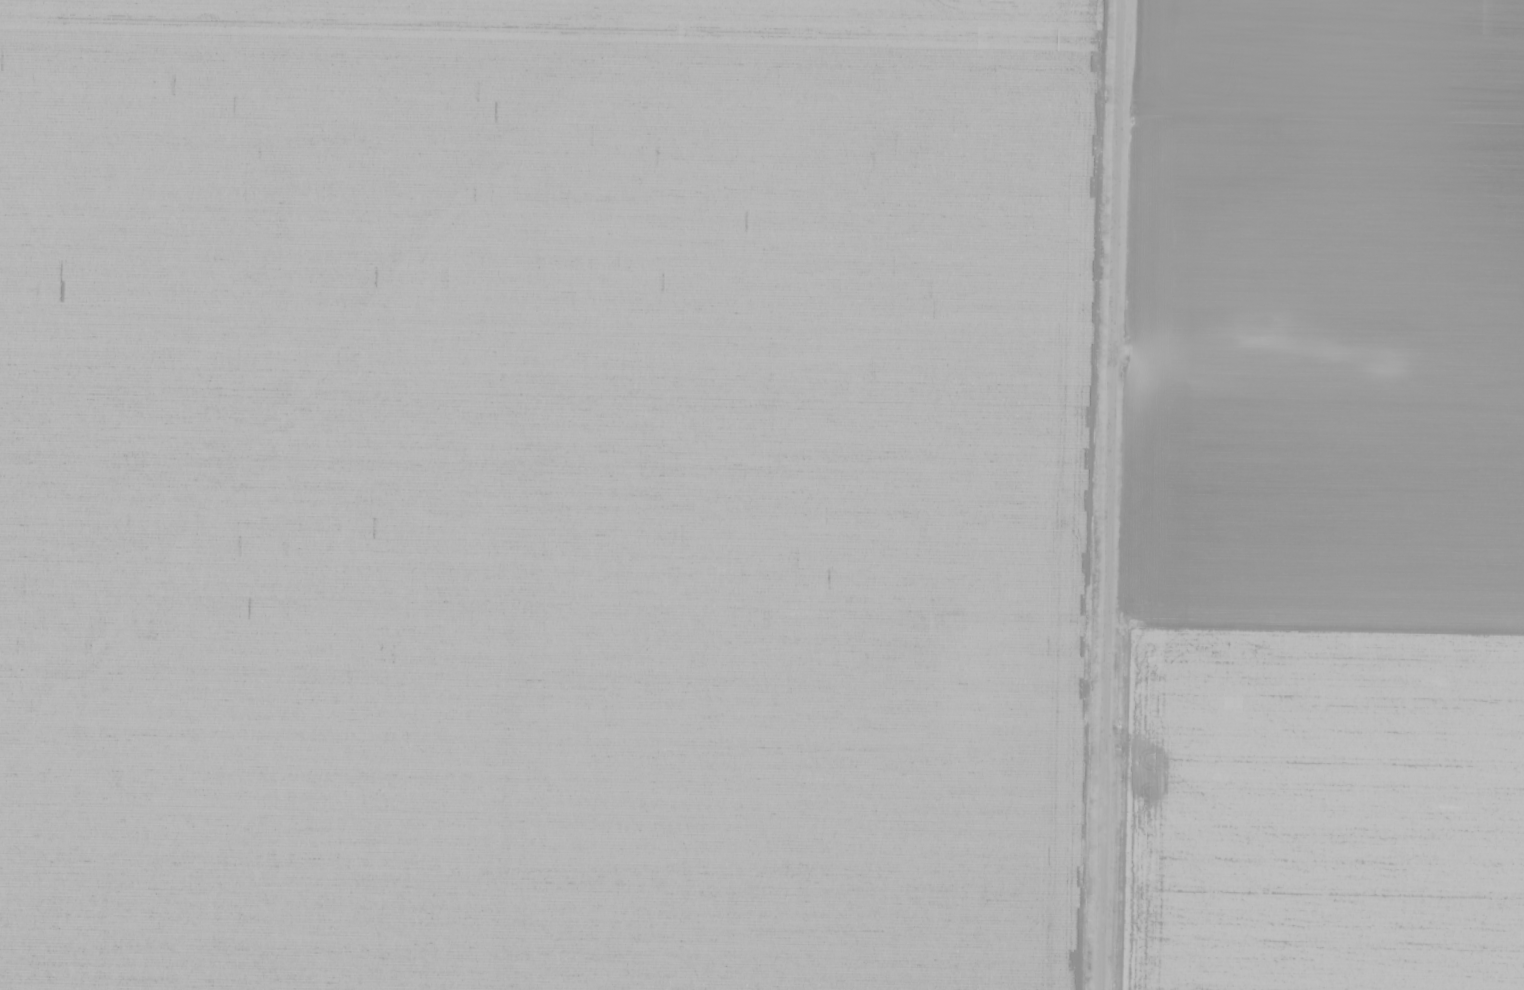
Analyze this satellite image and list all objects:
road: (1103, 495)

